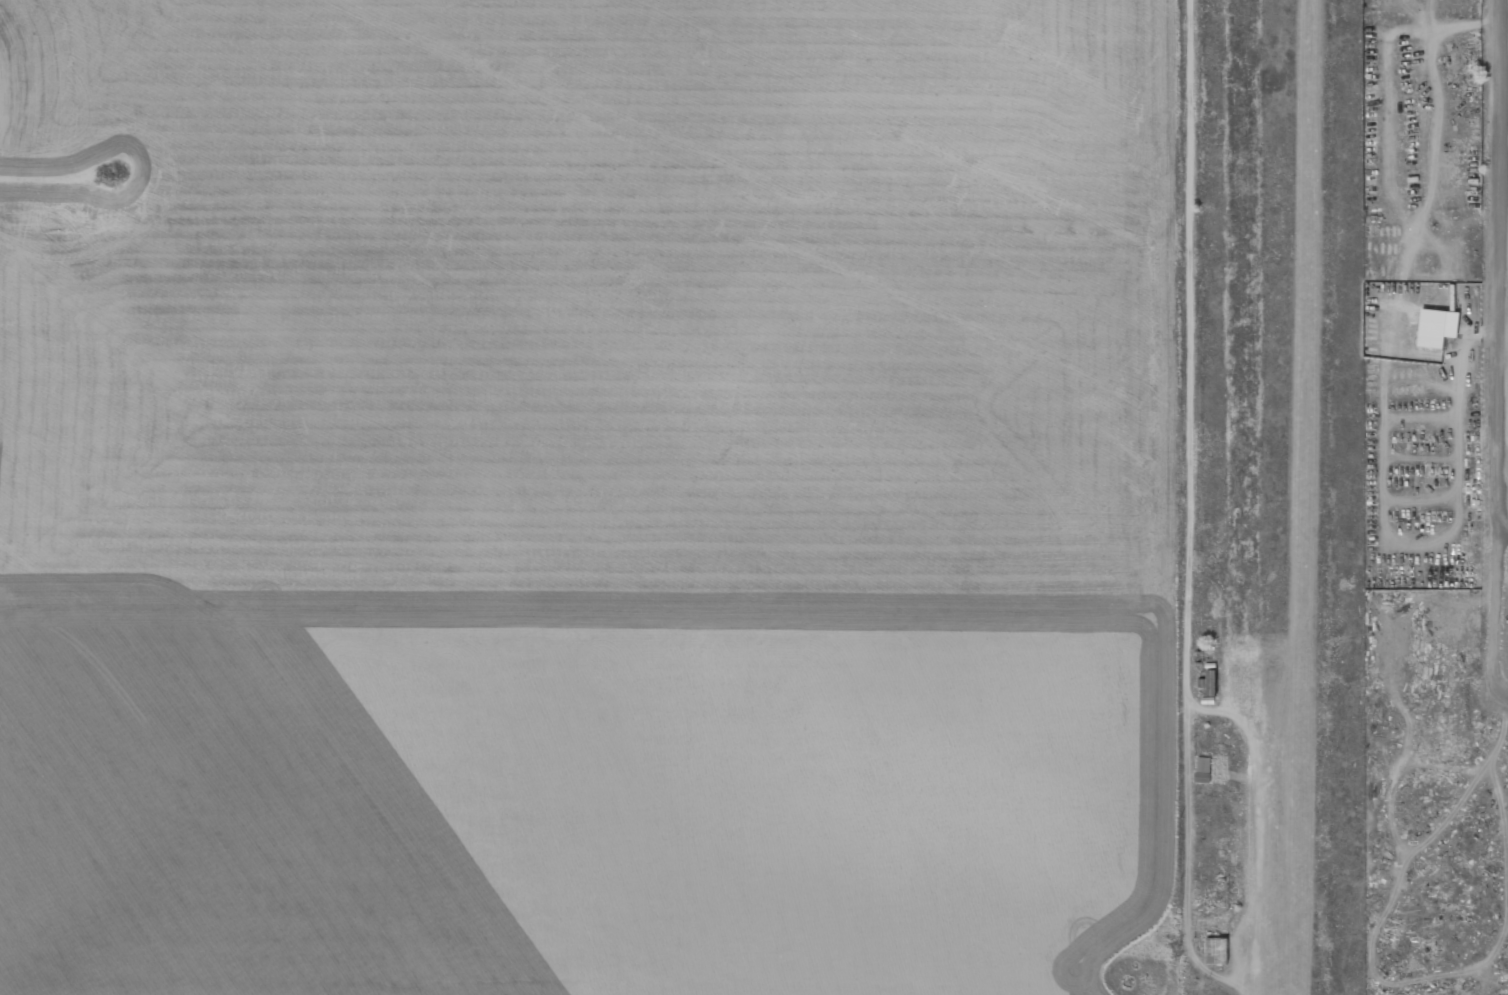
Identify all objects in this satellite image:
building: (1203, 770)
building: (1216, 951)

